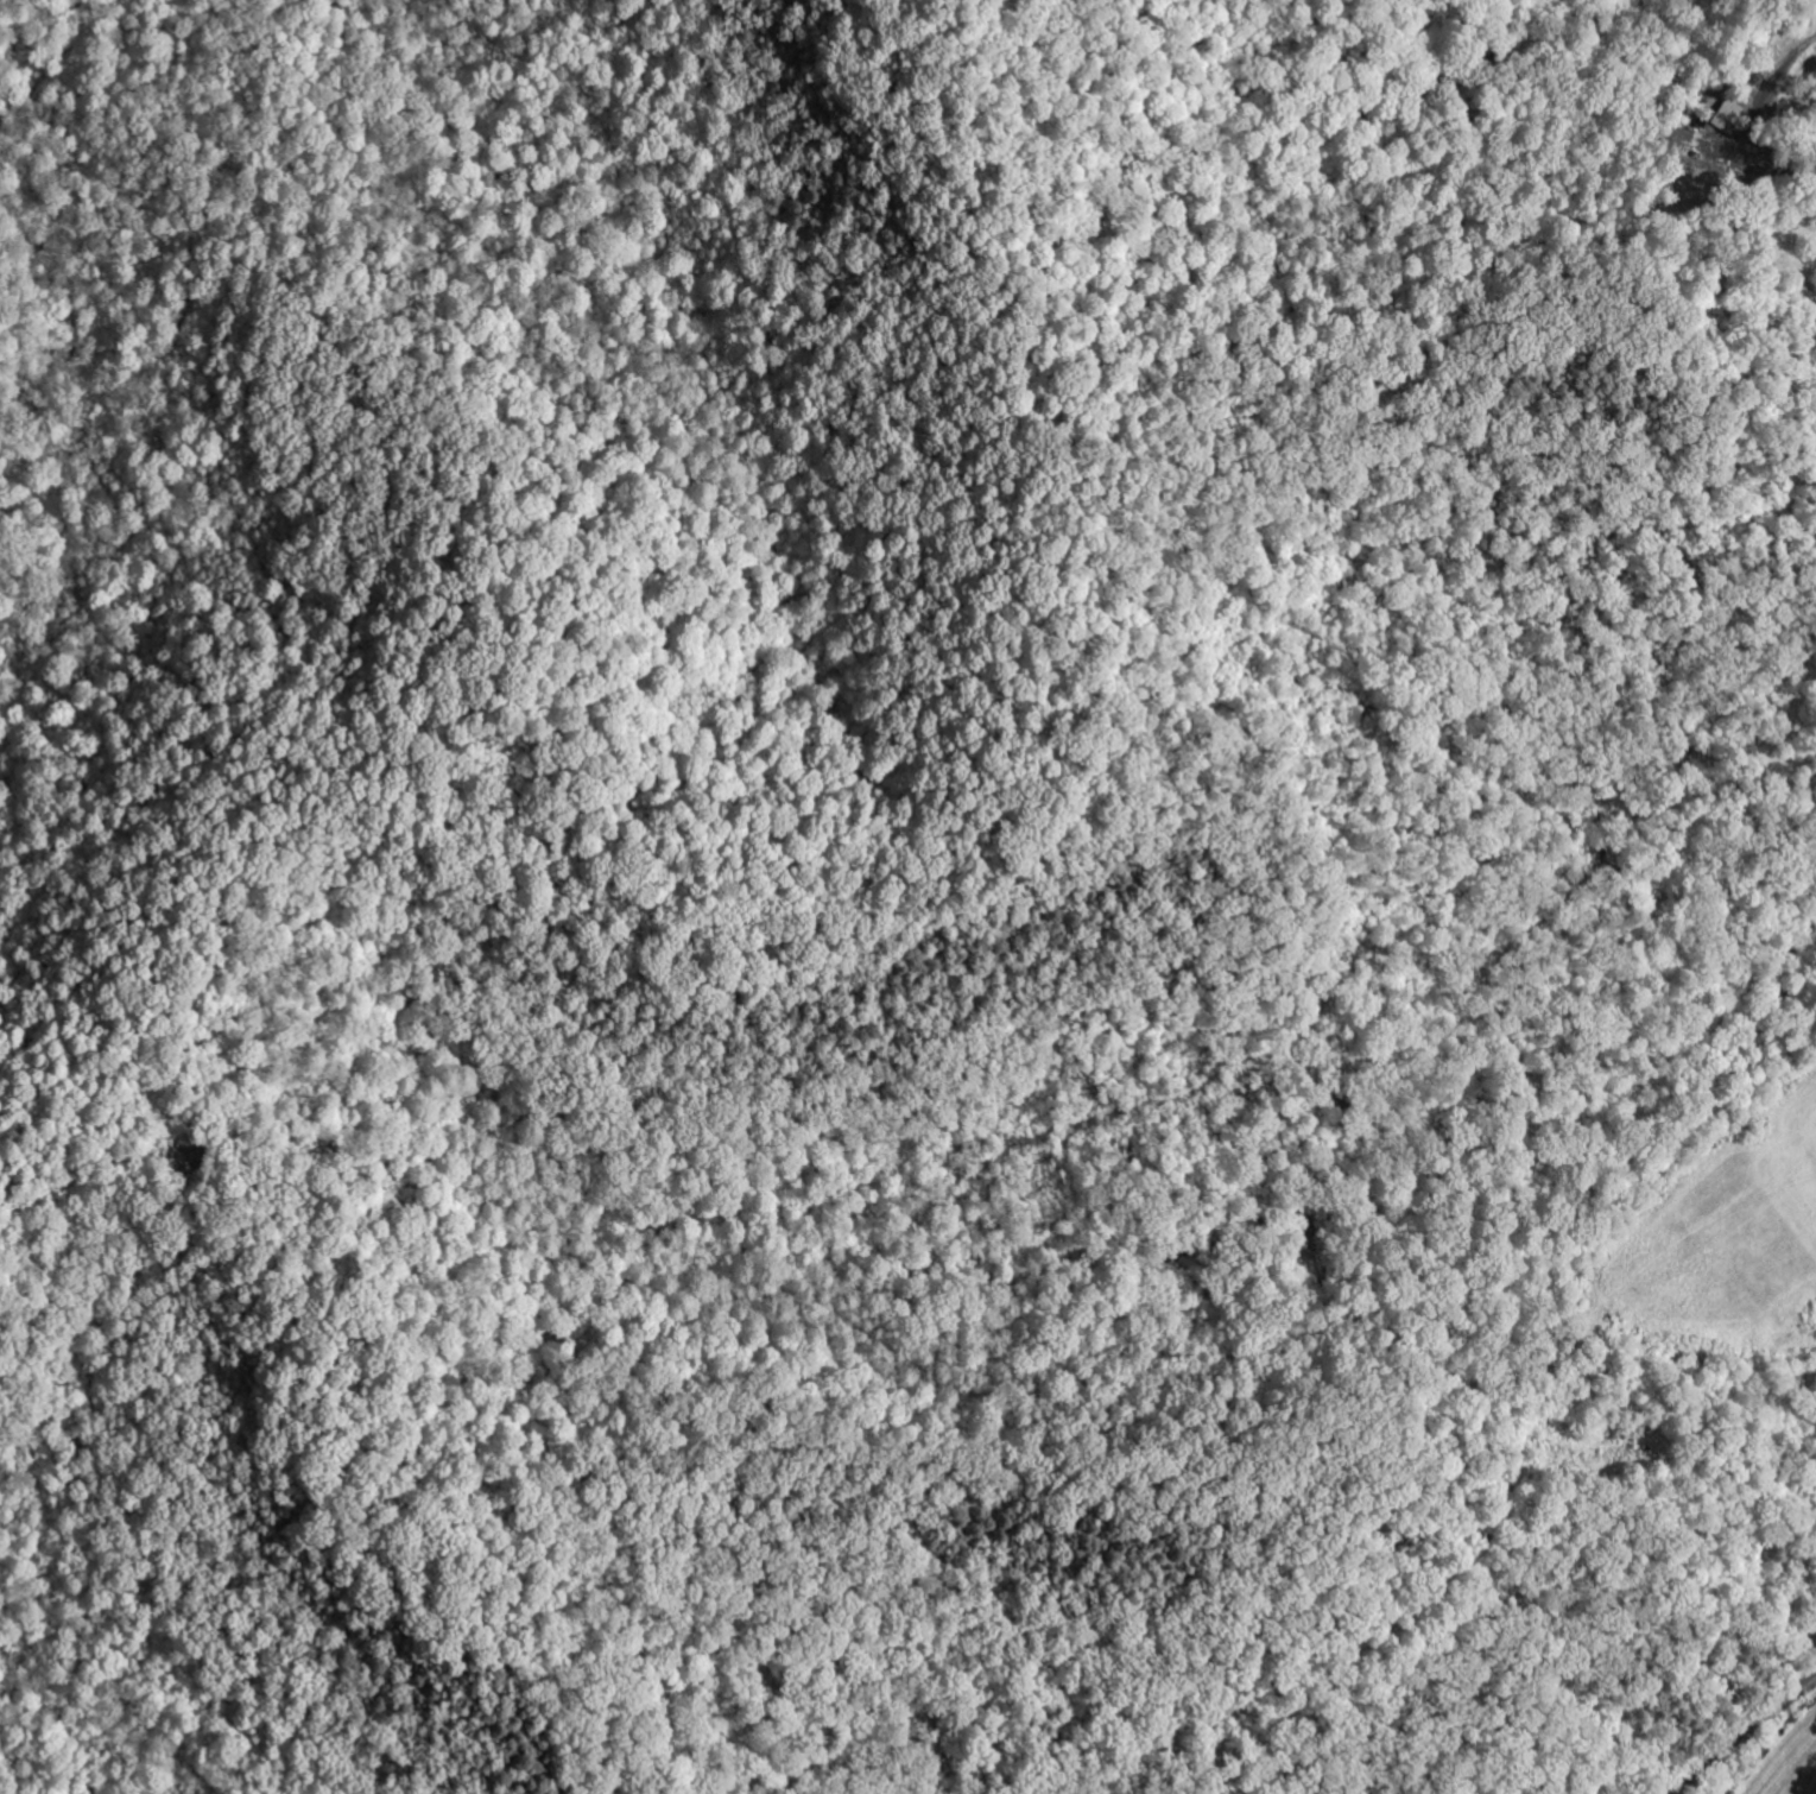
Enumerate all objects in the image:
road: (1740, 1730)

